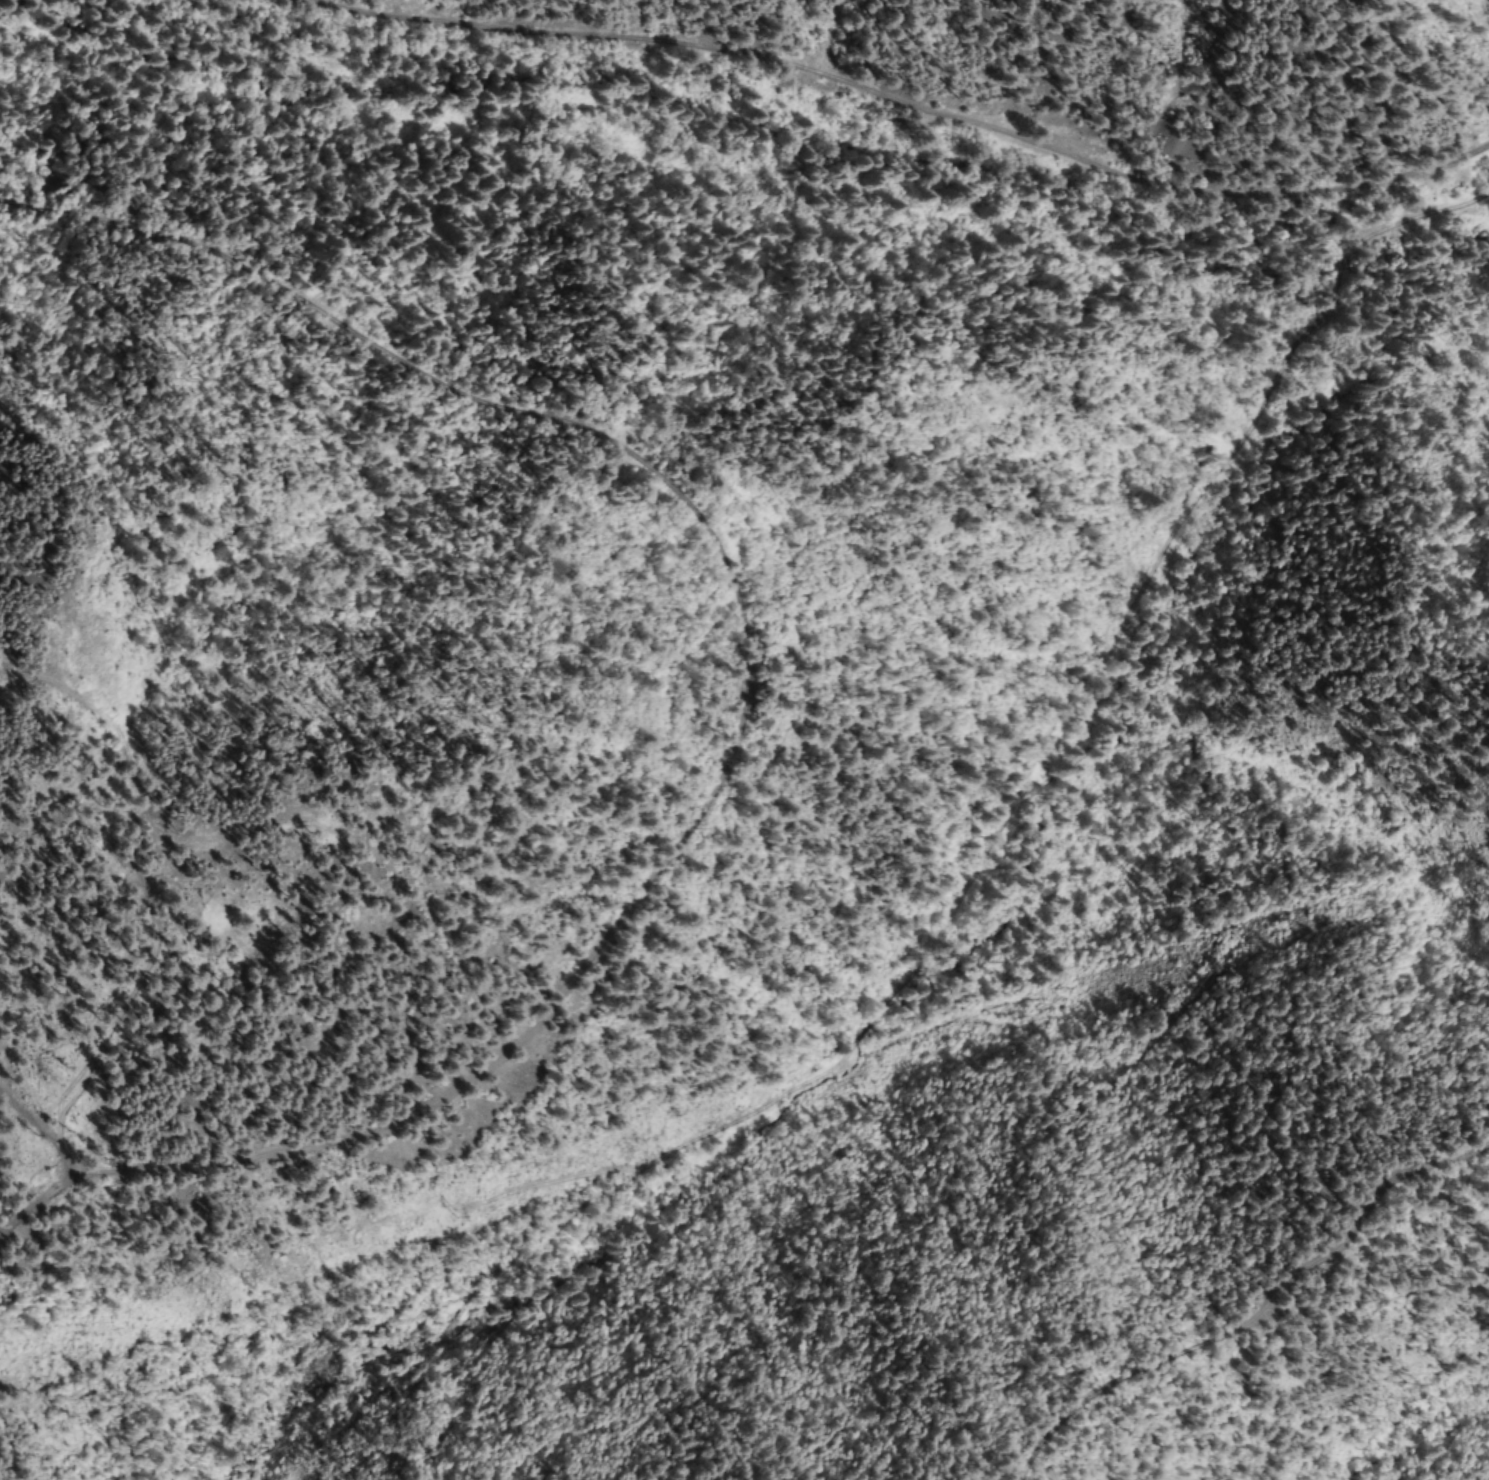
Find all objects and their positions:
road: (883, 96)
road: (749, 695)

